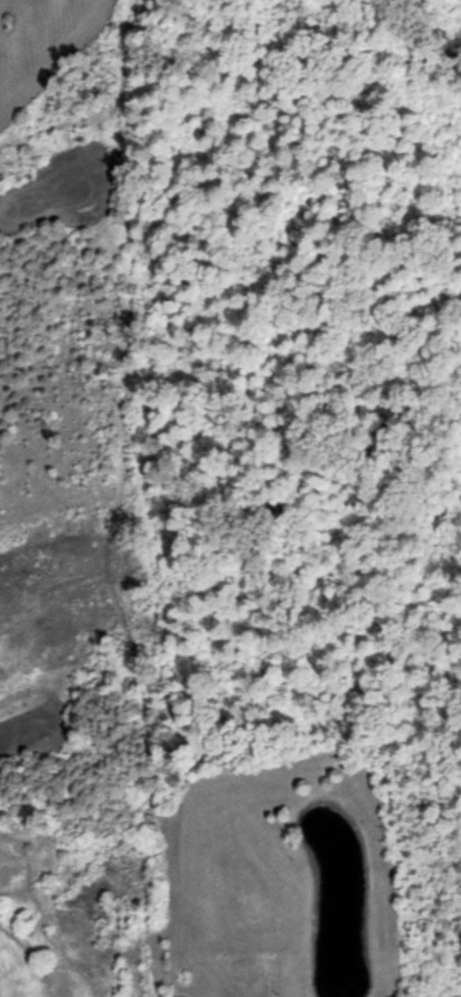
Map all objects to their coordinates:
building: (175, 996)

